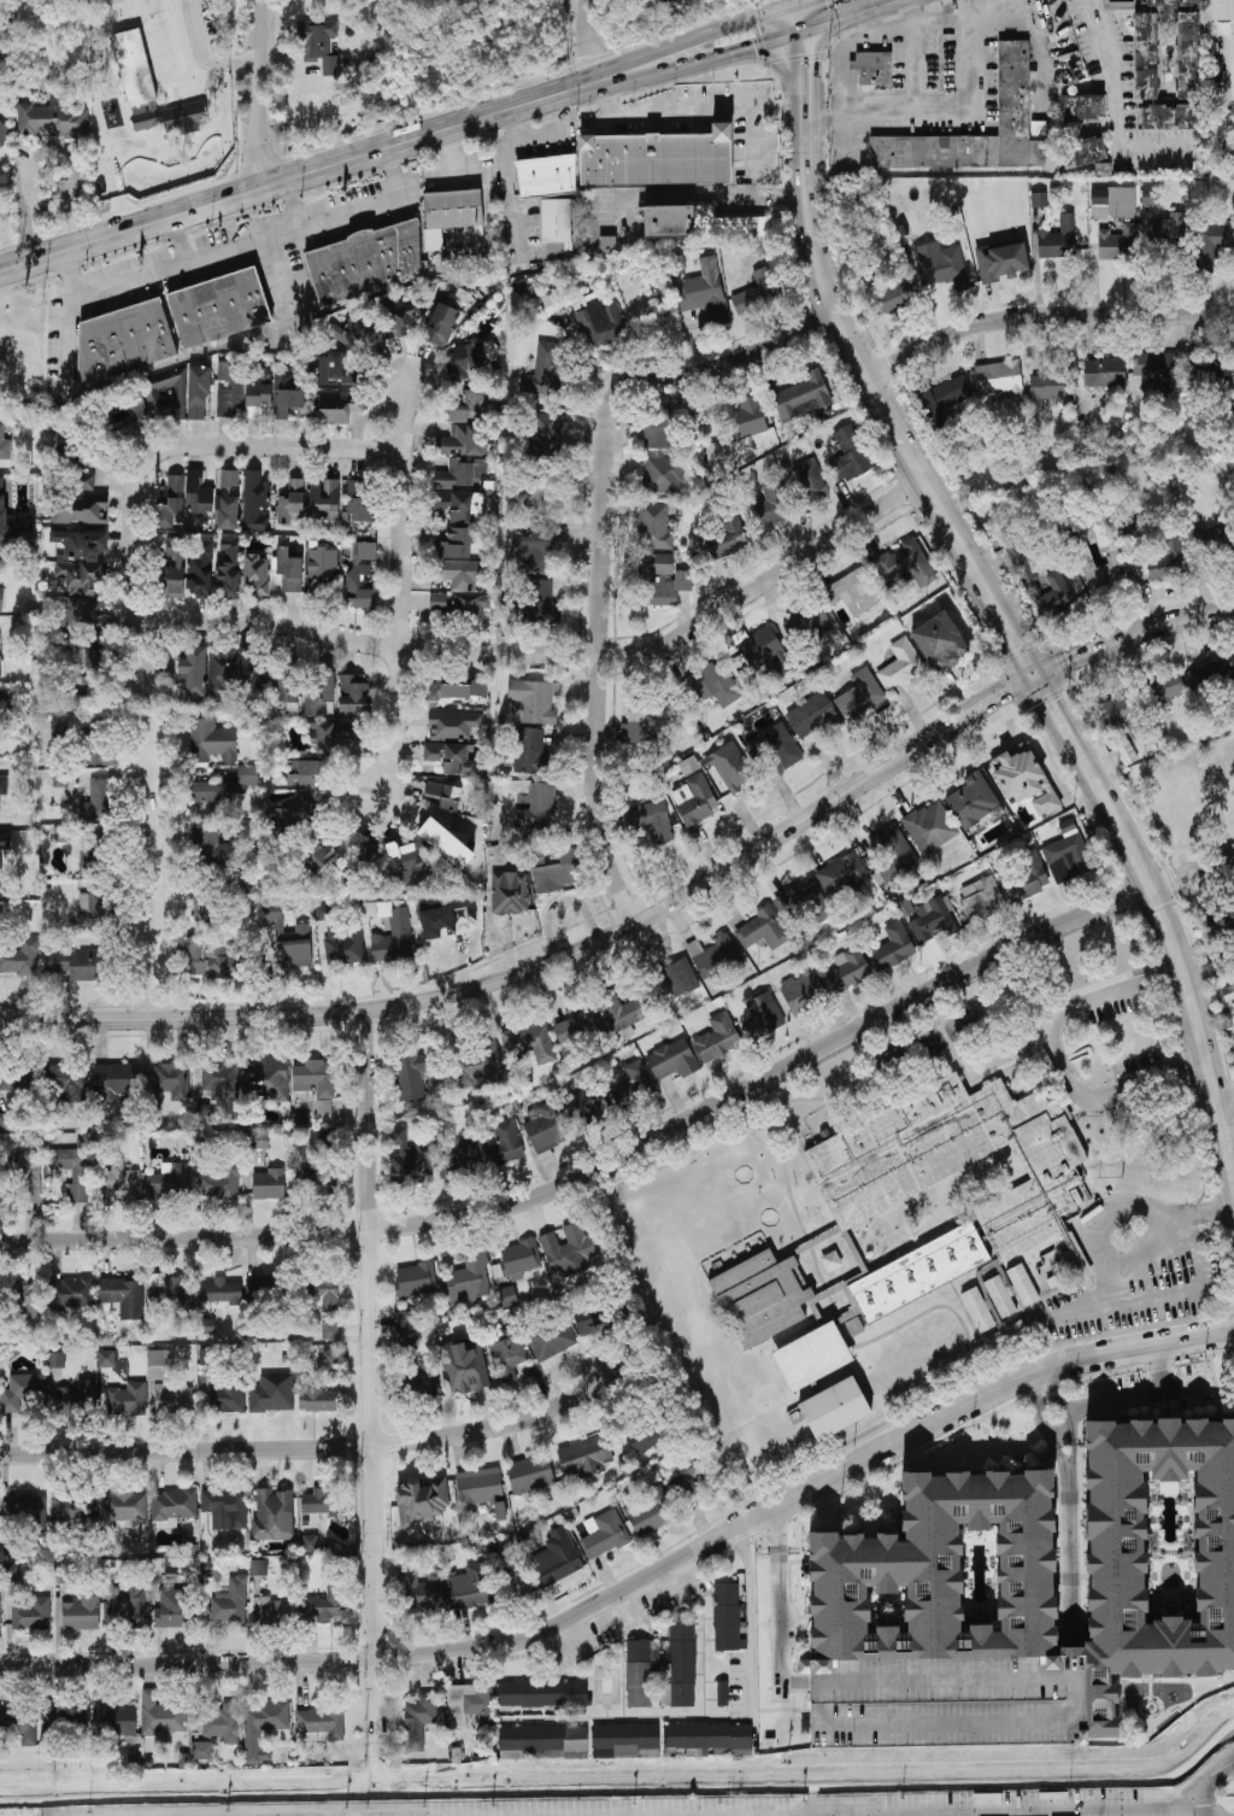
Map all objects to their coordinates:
road: (805, 1)
building: (1169, 2)
traffic signals: (800, 4)
road: (998, 4)
building: (1222, 10)
road: (954, 16)
road: (898, 30)
traffic signals: (801, 35)
road: (695, 36)
road: (593, 40)
building: (319, 45)
road: (752, 48)
building: (2, 51)
road: (110, 53)
road: (202, 55)
building: (1188, 55)
road: (195, 57)
building: (1145, 57)
road: (189, 59)
road: (841, 68)
building: (871, 68)
building: (1013, 81)
building: (148, 87)
road: (259, 93)
road: (234, 96)
road: (1111, 105)
building: (1081, 106)
road: (695, 110)
road: (942, 110)
road: (777, 111)
building: (1168, 117)
building: (53, 119)
building: (2, 135)
road: (542, 135)
road: (47, 146)
building: (1083, 152)
building: (657, 158)
road: (298, 175)
building: (546, 176)
road: (510, 193)
road: (701, 197)
building: (1151, 198)
building: (1039, 200)
building: (1113, 203)
road: (290, 206)
building: (449, 216)
building: (700, 225)
building: (556, 232)
building: (1168, 232)
building: (1058, 240)
road: (177, 241)
building: (1117, 241)
building: (1212, 244)
road: (254, 245)
building: (607, 245)
building: (1003, 262)
building: (365, 263)
building: (941, 265)
building: (699, 289)
building: (757, 292)
building: (889, 294)
building: (218, 307)
road: (63, 315)
building: (404, 316)
road: (1042, 316)
building: (601, 323)
building: (440, 324)
building: (353, 333)
building: (124, 340)
building: (471, 359)
road: (730, 365)
building: (1158, 368)
building: (335, 371)
building: (1207, 371)
building: (541, 373)
building: (1104, 373)
building: (999, 380)
building: (1050, 386)
building: (230, 391)
building: (198, 393)
building: (257, 393)
building: (166, 397)
building: (288, 398)
building: (801, 398)
building: (944, 399)
building: (339, 408)
building: (470, 408)
building: (133, 416)
building: (746, 420)
building: (1233, 427)
building: (657, 430)
building: (546, 435)
building: (464, 440)
building: (5, 445)
building: (850, 453)
building: (716, 458)
building: (456, 475)
building: (663, 475)
building: (810, 481)
building: (543, 493)
building: (199, 494)
building: (324, 499)
building: (170, 502)
building: (255, 502)
building: (292, 502)
building: (358, 503)
building: (771, 503)
building: (460, 505)
building: (80, 510)
building: (12, 522)
building: (654, 527)
building: (1136, 529)
building: (1214, 539)
building: (457, 541)
building: (721, 545)
building: (533, 551)
building: (80, 560)
building: (901, 560)
building: (1167, 564)
building: (174, 568)
building: (229, 569)
building: (1100, 569)
building: (200, 570)
building: (289, 570)
building: (322, 570)
building: (257, 574)
building: (359, 574)
building: (662, 580)
building: (1040, 584)
road: (404, 587)
building: (464, 588)
building: (851, 594)
building: (437, 602)
building: (541, 603)
road: (989, 604)
road: (141, 609)
building: (82, 615)
building: (806, 625)
road: (1176, 627)
building: (939, 642)
building: (764, 652)
road: (556, 654)
building: (1233, 657)
road: (600, 660)
road: (1076, 661)
building: (0, 662)
building: (900, 664)
building: (88, 666)
building: (208, 672)
road: (962, 672)
building: (249, 675)
traffic signals: (1033, 679)
building: (1209, 679)
building: (458, 689)
building: (711, 690)
building: (1167, 690)
building: (287, 692)
building: (74, 696)
building: (319, 696)
building: (353, 696)
road: (1004, 697)
building: (860, 698)
building: (534, 701)
building: (4, 707)
building: (1123, 715)
road: (913, 716)
building: (645, 717)
building: (806, 717)
building: (452, 725)
building: (71, 728)
building: (331, 738)
building: (211, 742)
building: (781, 745)
road: (1003, 746)
building: (530, 752)
building: (1127, 752)
building: (99, 755)
building: (459, 761)
building: (689, 766)
building: (731, 768)
building: (307, 773)
road: (821, 775)
building: (1024, 778)
road: (953, 779)
building: (4, 784)
building: (224, 787)
road: (894, 792)
building: (448, 797)
building: (695, 799)
building: (99, 801)
building: (971, 801)
building: (537, 808)
building: (292, 814)
building: (647, 815)
building: (929, 827)
building: (60, 833)
building: (446, 844)
building: (212, 850)
building: (891, 851)
building: (313, 853)
building: (371, 855)
building: (1068, 855)
building: (94, 856)
building: (410, 863)
building: (842, 872)
building: (557, 874)
building: (1029, 878)
building: (510, 892)
building: (979, 900)
road: (721, 902)
building: (207, 903)
building: (801, 904)
building: (94, 909)
building: (323, 912)
building: (1222, 919)
building: (934, 920)
building: (762, 930)
building: (392, 932)
building: (288, 938)
building: (343, 947)
building: (892, 947)
building: (712, 955)
building: (19, 957)
building: (211, 957)
building: (78, 965)
building: (848, 969)
road: (521, 977)
building: (675, 979)
building: (1228, 992)
building: (803, 994)
building: (622, 1012)
building: (765, 1012)
building: (578, 1027)
building: (716, 1039)
building: (529, 1043)
building: (671, 1059)
road: (1060, 1059)
building: (478, 1065)
building: (412, 1076)
building: (637, 1078)
building: (172, 1080)
building: (221, 1080)
building: (266, 1080)
building: (17, 1082)
building: (116, 1082)
building: (316, 1083)
building: (66, 1084)
road: (1223, 1096)
building: (584, 1105)
building: (202, 1113)
building: (6, 1123)
building: (545, 1129)
building: (255, 1141)
building: (201, 1142)
building: (504, 1142)
road: (642, 1148)
building: (410, 1158)
building: (460, 1159)
building: (69, 1173)
building: (122, 1182)
building: (169, 1182)
building: (218, 1183)
building: (269, 1184)
building: (313, 1184)
road: (1122, 1202)
road: (1199, 1214)
building: (989, 1240)
building: (569, 1250)
building: (519, 1258)
building: (415, 1281)
building: (469, 1281)
building: (1022, 1285)
building: (262, 1289)
building: (222, 1291)
building: (70, 1294)
building: (323, 1294)
building: (1000, 1295)
road: (1170, 1295)
building: (123, 1296)
building: (170, 1296)
building: (507, 1296)
building: (27, 1300)
building: (404, 1319)
building: (206, 1326)
building: (329, 1329)
building: (1006, 1336)
building: (550, 1338)
building: (407, 1341)
building: (506, 1354)
building: (205, 1357)
building: (57, 1359)
building: (106, 1359)
building: (329, 1360)
building: (155, 1365)
building: (464, 1369)
road: (1162, 1369)
building: (424, 1379)
building: (22, 1392)
building: (272, 1394)
road: (375, 1395)
road: (1130, 1396)
building: (227, 1398)
building: (317, 1398)
building: (77, 1399)
building: (172, 1399)
building: (127, 1400)
building: (834, 1408)
building: (644, 1437)
road: (312, 1449)
building: (584, 1458)
building: (530, 1475)
building: (687, 1481)
building: (482, 1490)
building: (321, 1502)
building: (421, 1502)
building: (124, 1506)
building: (172, 1506)
building: (27, 1507)
building: (225, 1507)
building: (71, 1509)
building: (650, 1512)
building: (272, 1516)
building: (604, 1534)
building: (310, 1543)
building: (1117, 1550)
building: (557, 1558)
building: (11, 1572)
building: (944, 1574)
building: (64, 1575)
road: (636, 1583)
building: (470, 1587)
road: (671, 1591)
building: (423, 1592)
building: (0, 1603)
building: (129, 1603)
building: (324, 1607)
building: (174, 1609)
building: (229, 1609)
building: (277, 1612)
building: (31, 1615)
building: (81, 1615)
building: (727, 1616)
road: (748, 1616)
building: (642, 1673)
road: (839, 1683)
road: (1076, 1688)
building: (722, 1693)
building: (543, 1694)
building: (951, 1703)
parking lot: (951, 1703)
building: (469, 1704)
building: (161, 1716)
building: (64, 1720)
building: (116, 1720)
building: (321, 1721)
building: (418, 1721)
building: (222, 1723)
building: (19, 1726)
building: (263, 1728)
building: (706, 1739)
building: (625, 1741)
building: (542, 1742)
building: (201, 1750)
road: (1207, 1788)
parking lot: (1233, 1810)
road: (966, 1811)

